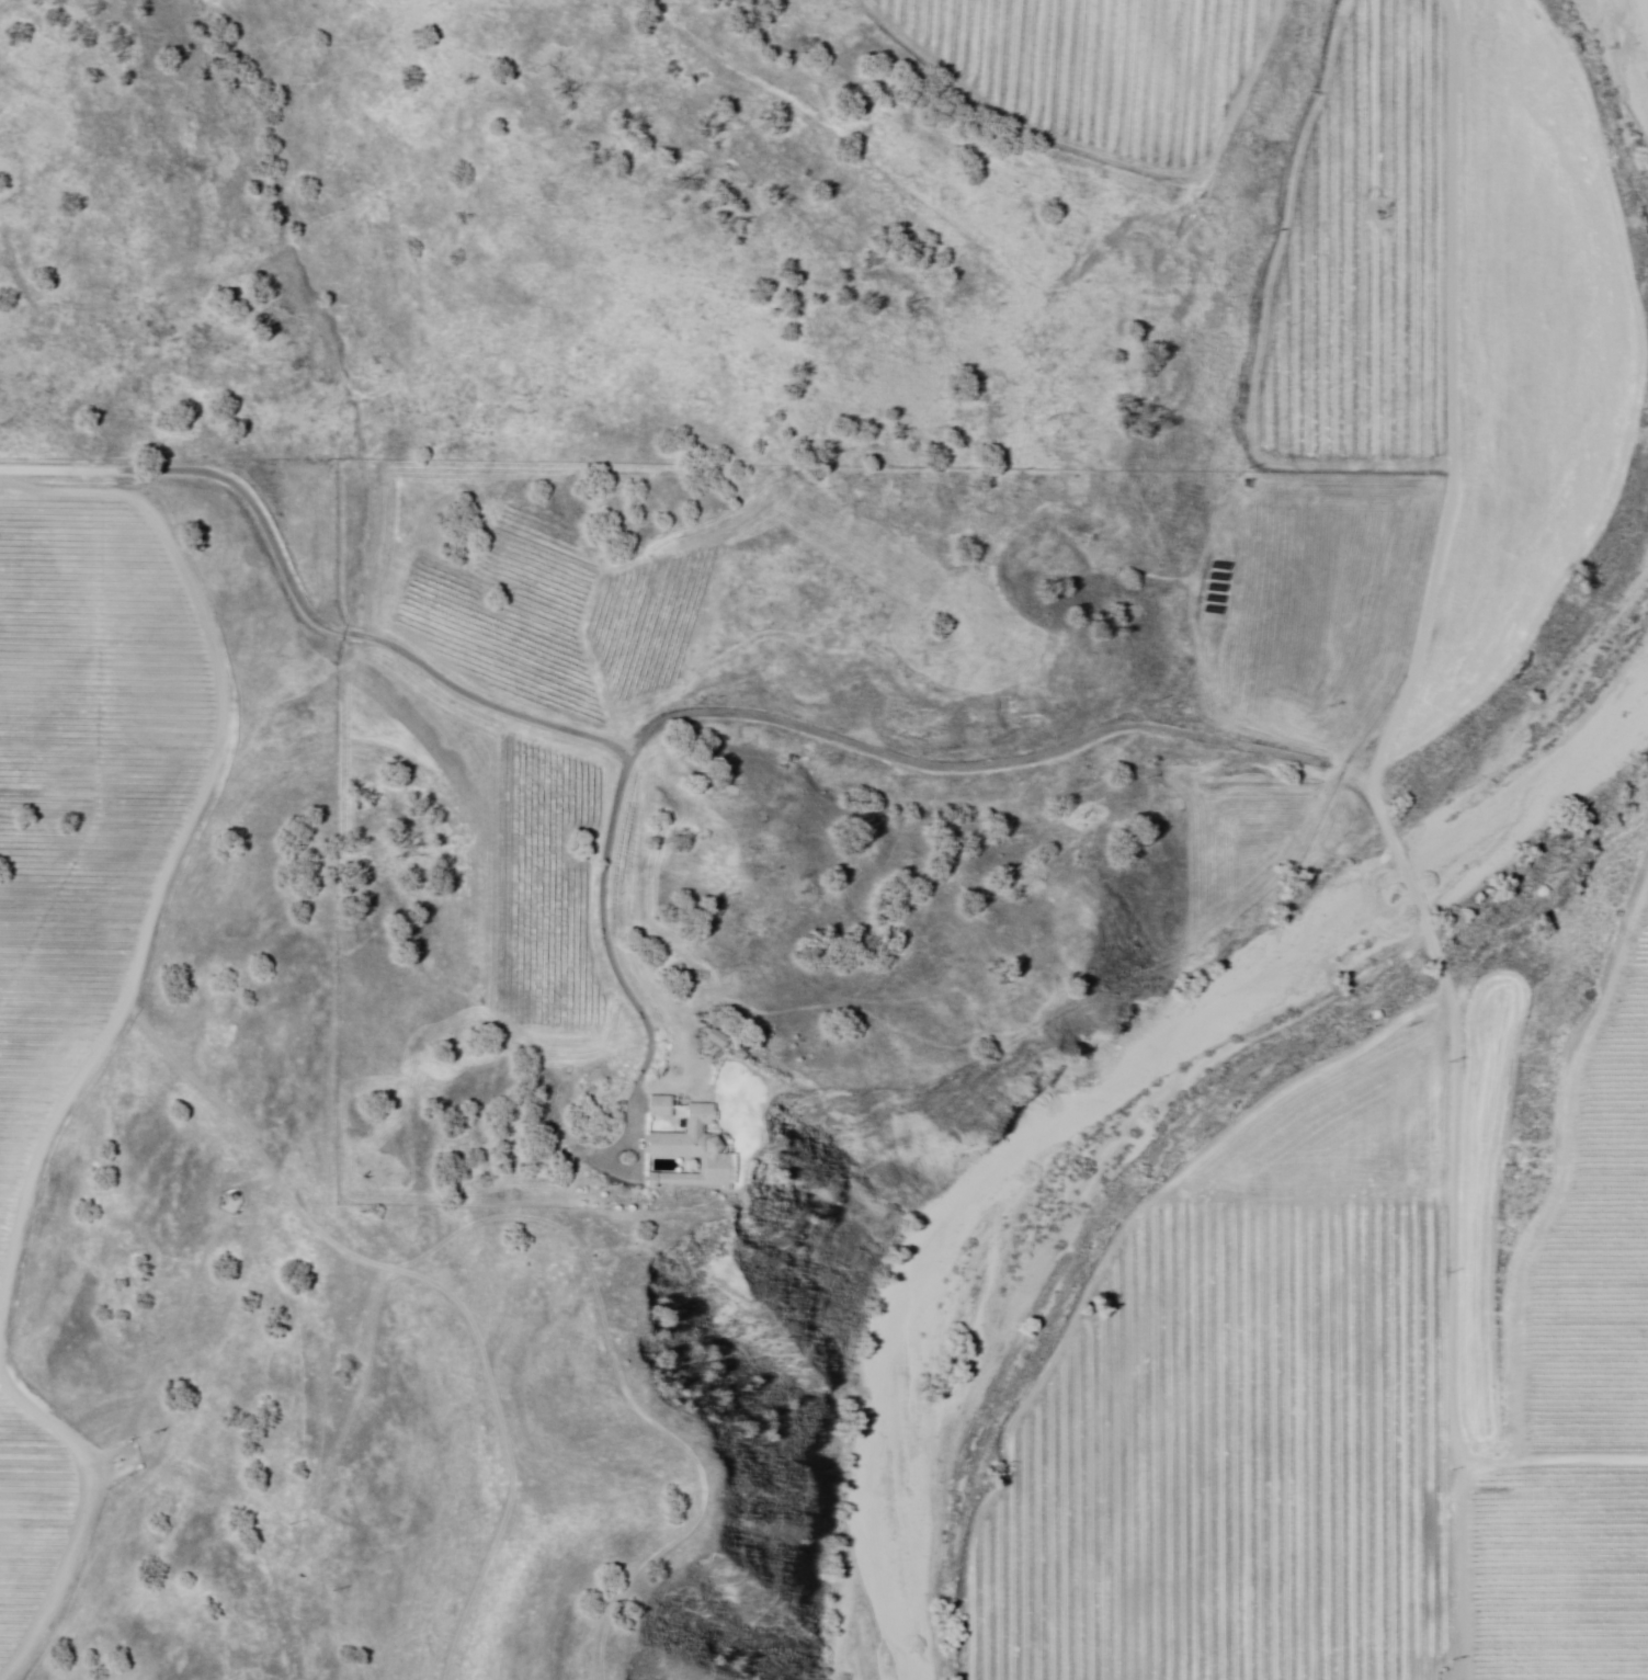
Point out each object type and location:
river: (1633, 39)
crop: (1091, 71)
road: (480, 701)
road: (966, 768)
building: (709, 1038)
building: (719, 1041)
river: (1128, 1089)
building: (661, 1108)
building: (693, 1153)
crop: (1591, 1237)
crop: (1554, 1577)

